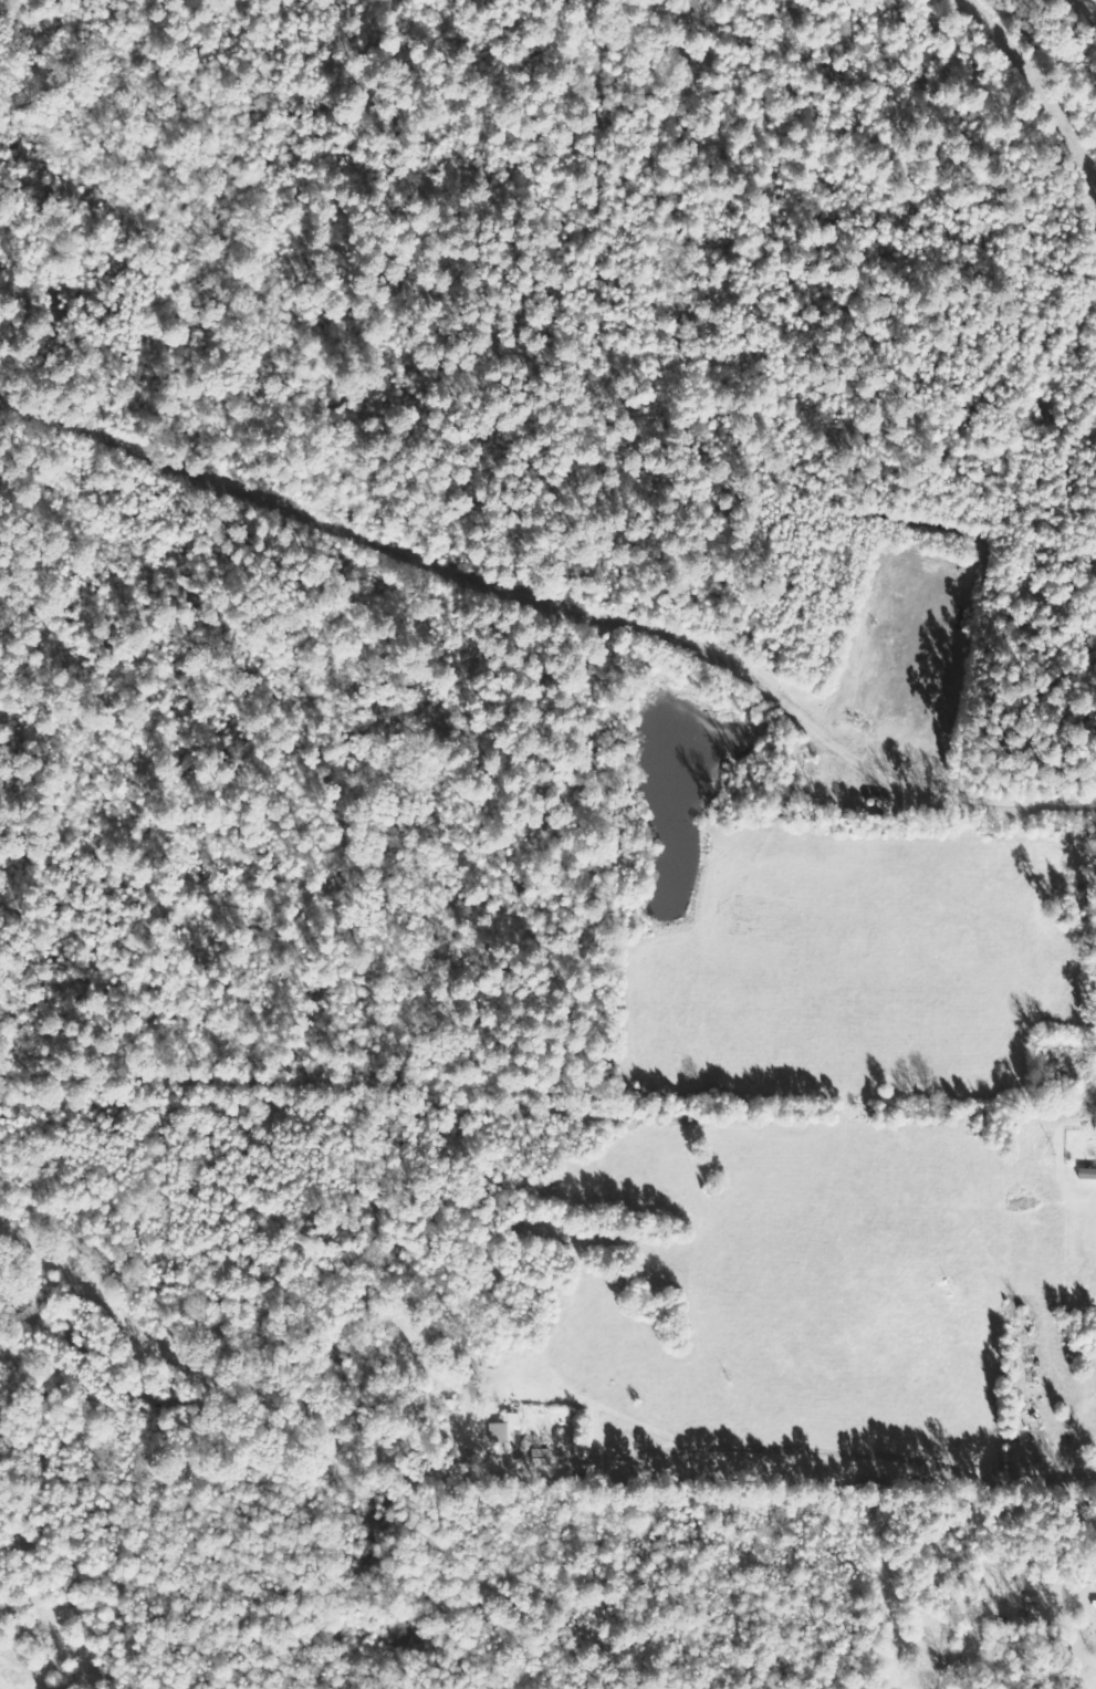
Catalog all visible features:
building: (1086, 1174)
building: (504, 1430)
road: (838, 1451)

